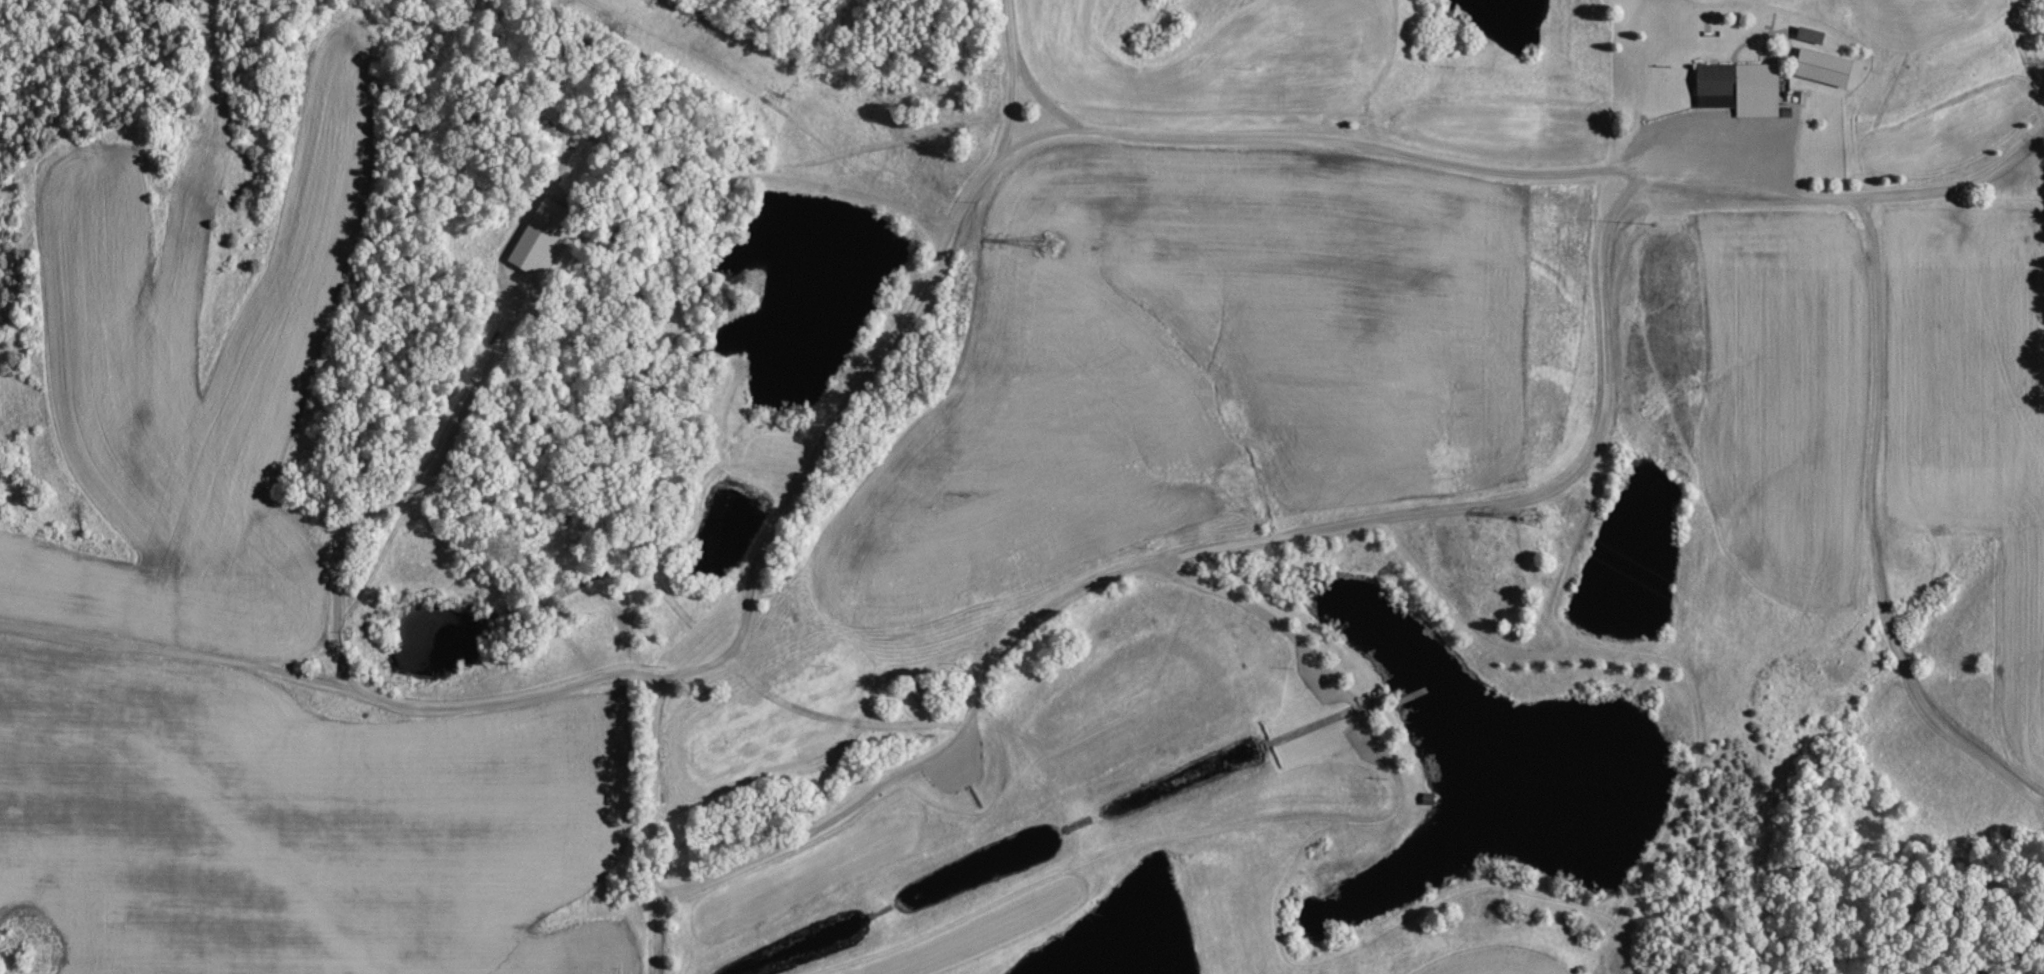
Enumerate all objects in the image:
building: (1828, 68)
road: (1016, 73)
road: (1854, 198)
power tower: (1036, 235)
building: (544, 238)
road: (932, 282)
power tower: (1536, 513)
road: (1871, 526)
road: (1220, 547)
road: (180, 647)
road: (655, 821)

